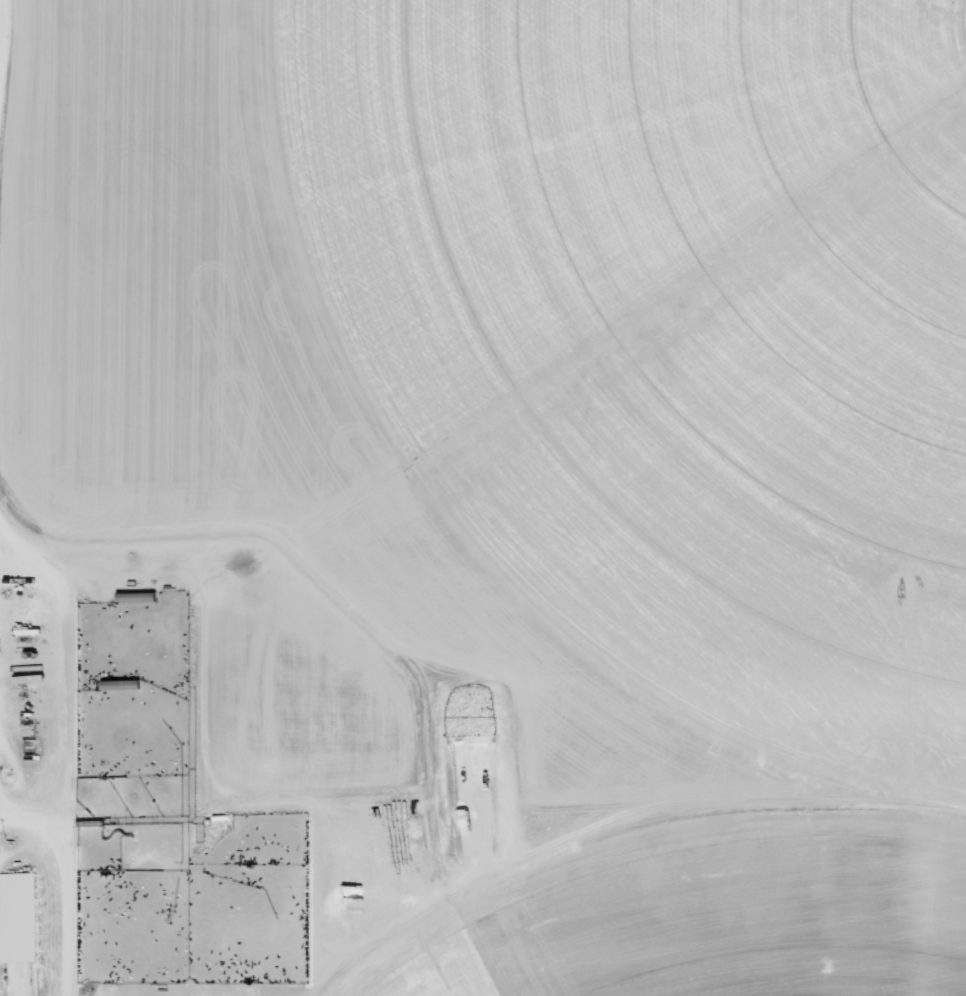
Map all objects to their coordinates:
road: (483, 825)
building: (20, 918)

